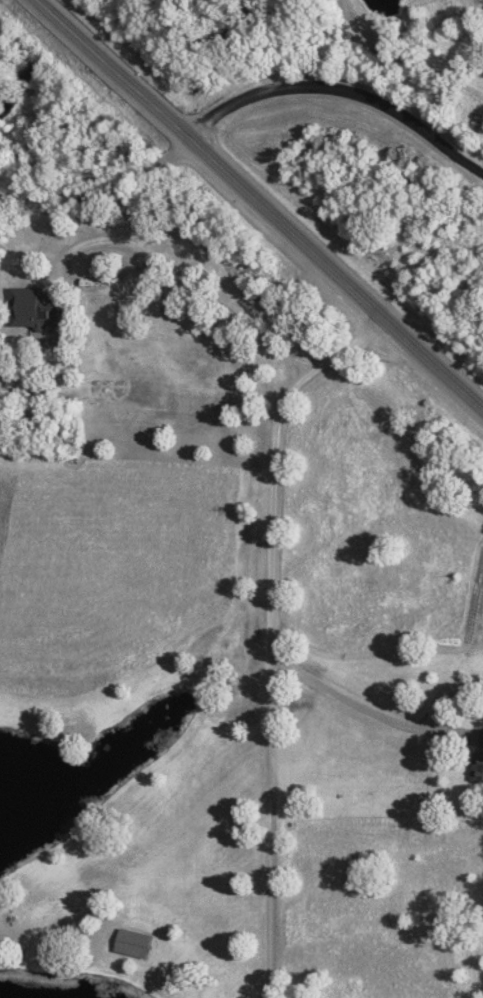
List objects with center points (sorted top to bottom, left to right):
road: (280, 46)
road: (341, 92)
road: (257, 224)
road: (114, 278)
building: (38, 316)
road: (185, 613)
building: (482, 762)
building: (139, 944)

